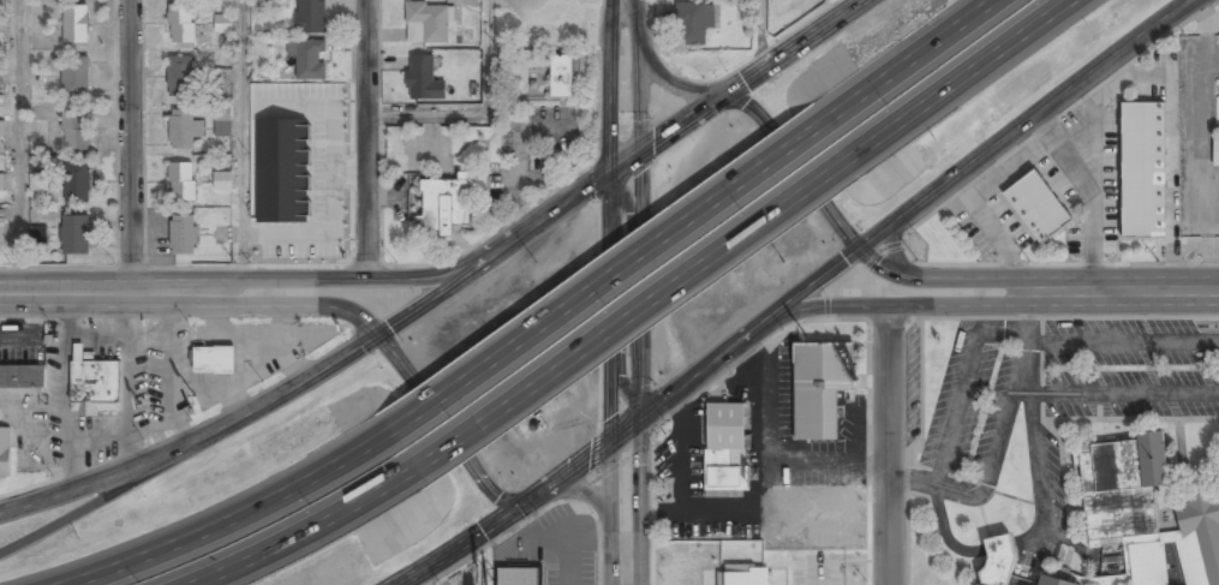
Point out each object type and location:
building: (311, 17)
building: (223, 23)
building: (428, 23)
building: (76, 24)
building: (181, 24)
building: (691, 24)
road: (759, 35)
building: (309, 58)
road: (486, 59)
road: (919, 59)
building: (1, 76)
building: (180, 76)
building: (562, 77)
road: (623, 77)
building: (423, 78)
road: (659, 79)
building: (76, 80)
road: (961, 84)
traffic signals: (711, 100)
road: (428, 118)
building: (222, 120)
building: (184, 129)
building: (0, 130)
building: (74, 130)
road: (369, 139)
road: (240, 142)
road: (18, 148)
road: (131, 148)
building: (1215, 153)
traffic signals: (625, 155)
road: (796, 162)
building: (1141, 171)
building: (222, 180)
building: (1, 181)
building: (38, 181)
building: (78, 181)
building: (181, 181)
building: (446, 207)
building: (1035, 207)
building: (2, 232)
building: (37, 234)
building: (76, 234)
building: (183, 234)
traffic signals: (865, 253)
road: (1009, 279)
road: (330, 280)
road: (450, 287)
road: (597, 291)
road: (625, 292)
road: (1189, 292)
road: (92, 297)
road: (807, 298)
road: (975, 304)
road: (286, 305)
traffic signals: (380, 336)
road: (614, 338)
building: (214, 360)
building: (23, 377)
building: (95, 386)
building: (821, 386)
traffic signals: (626, 430)
road: (447, 431)
building: (725, 446)
road: (889, 446)
building: (5, 452)
road: (581, 496)
traffic signals: (534, 500)
road: (625, 507)
road: (98, 509)
building: (1147, 514)
road: (227, 529)
road: (299, 549)
building: (997, 561)
building: (519, 577)
building: (1054, 581)

